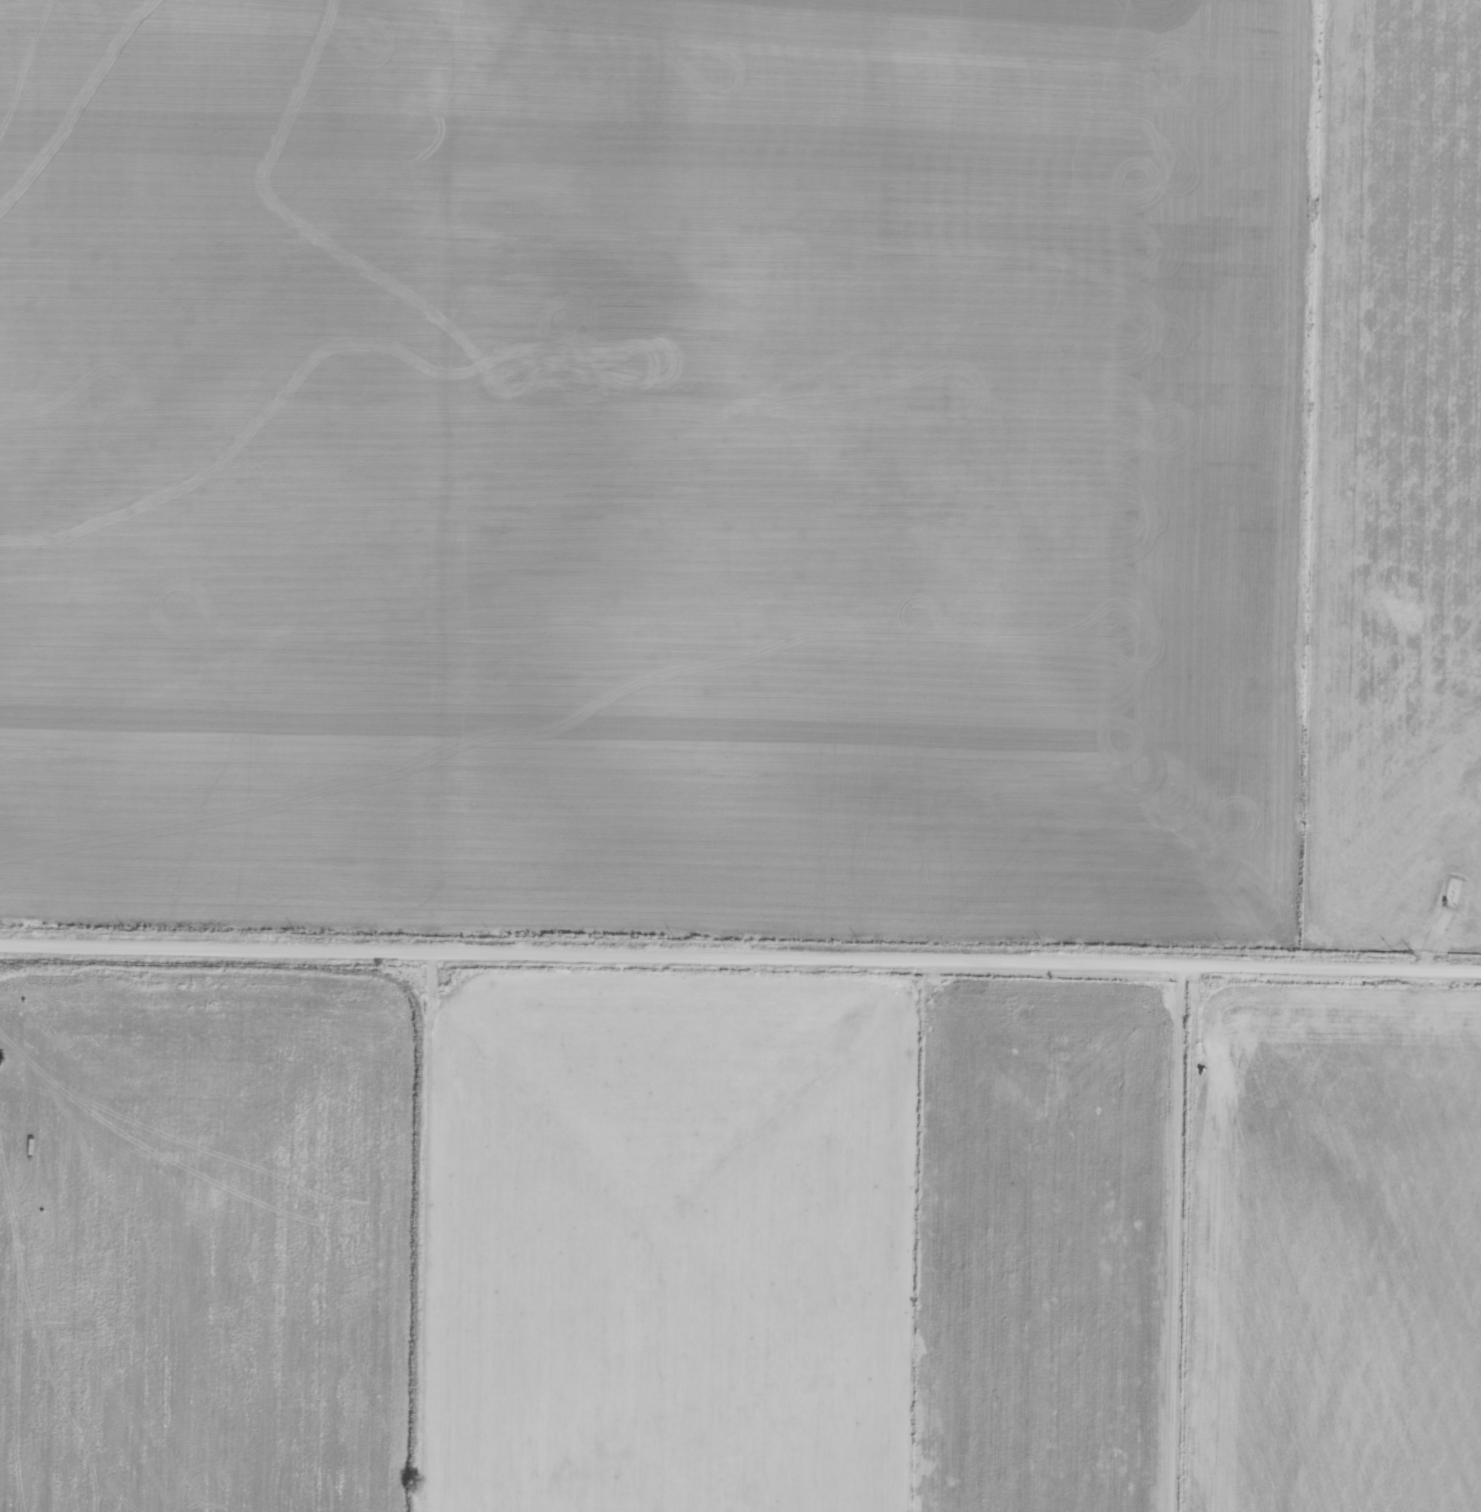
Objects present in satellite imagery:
road: (740, 959)
road: (437, 1232)
road: (1170, 1240)

